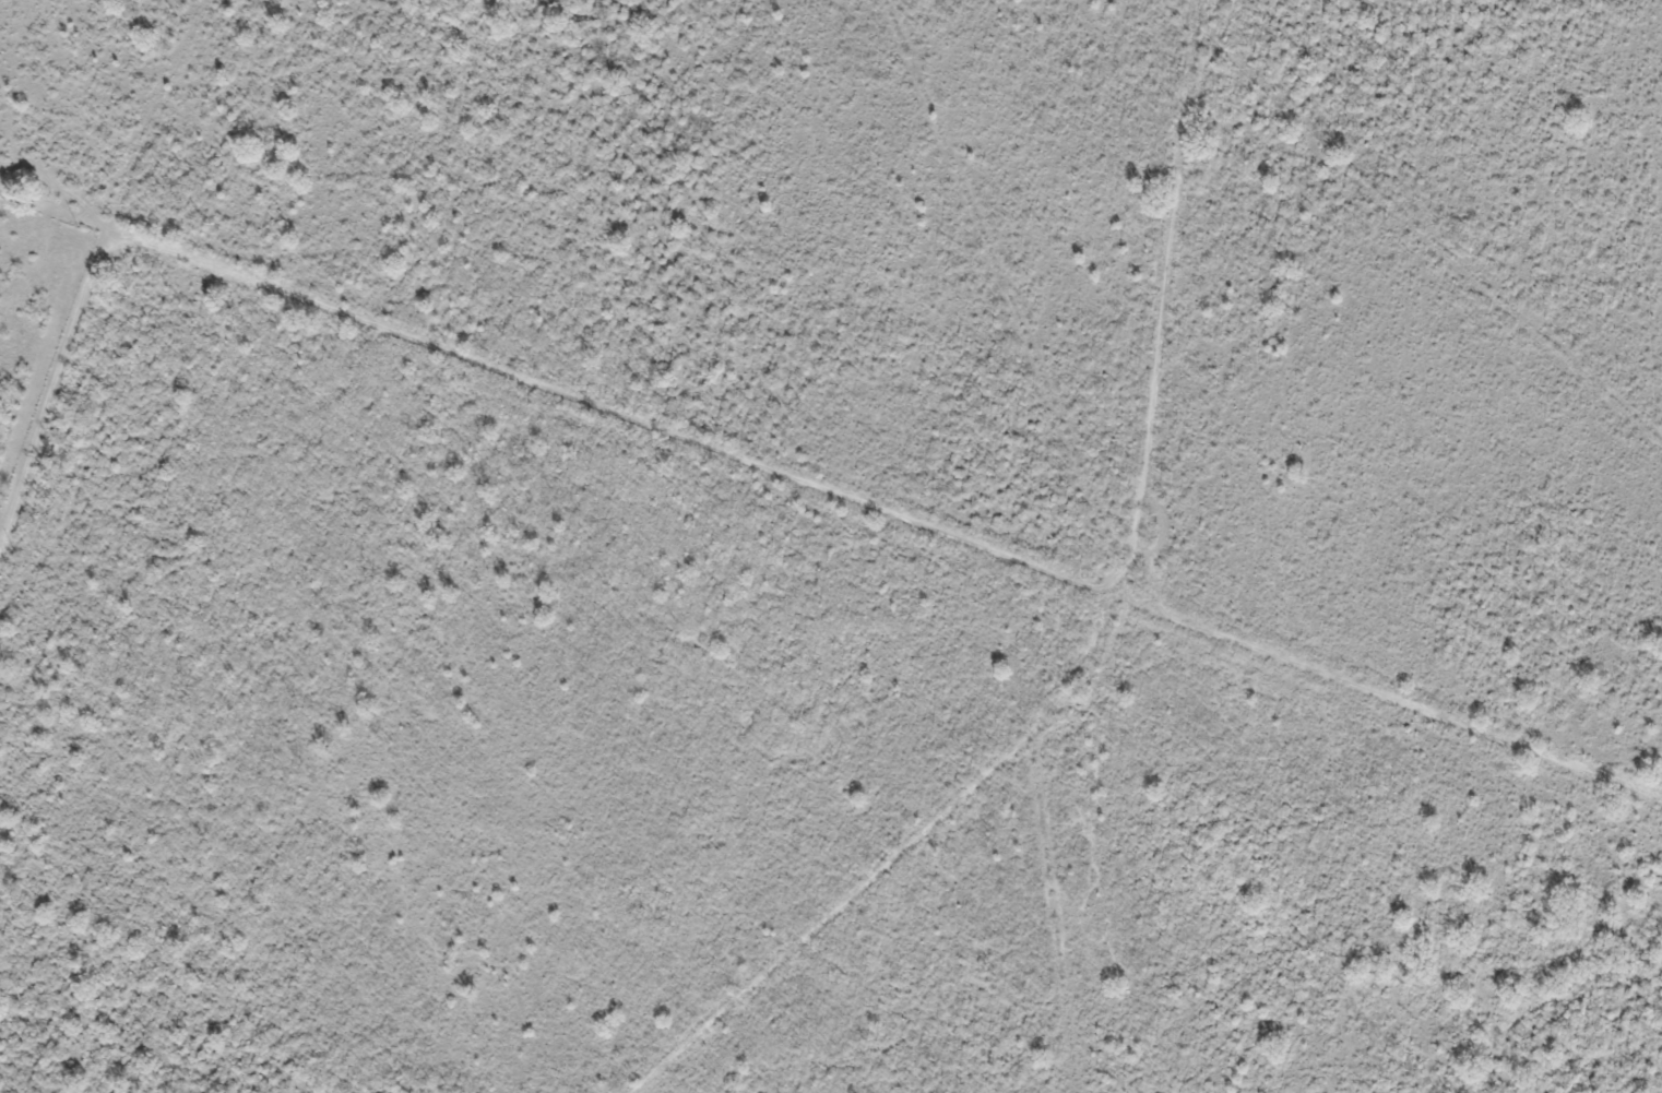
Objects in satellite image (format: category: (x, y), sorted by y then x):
road: (1161, 319)
road: (439, 351)
road: (1349, 686)

